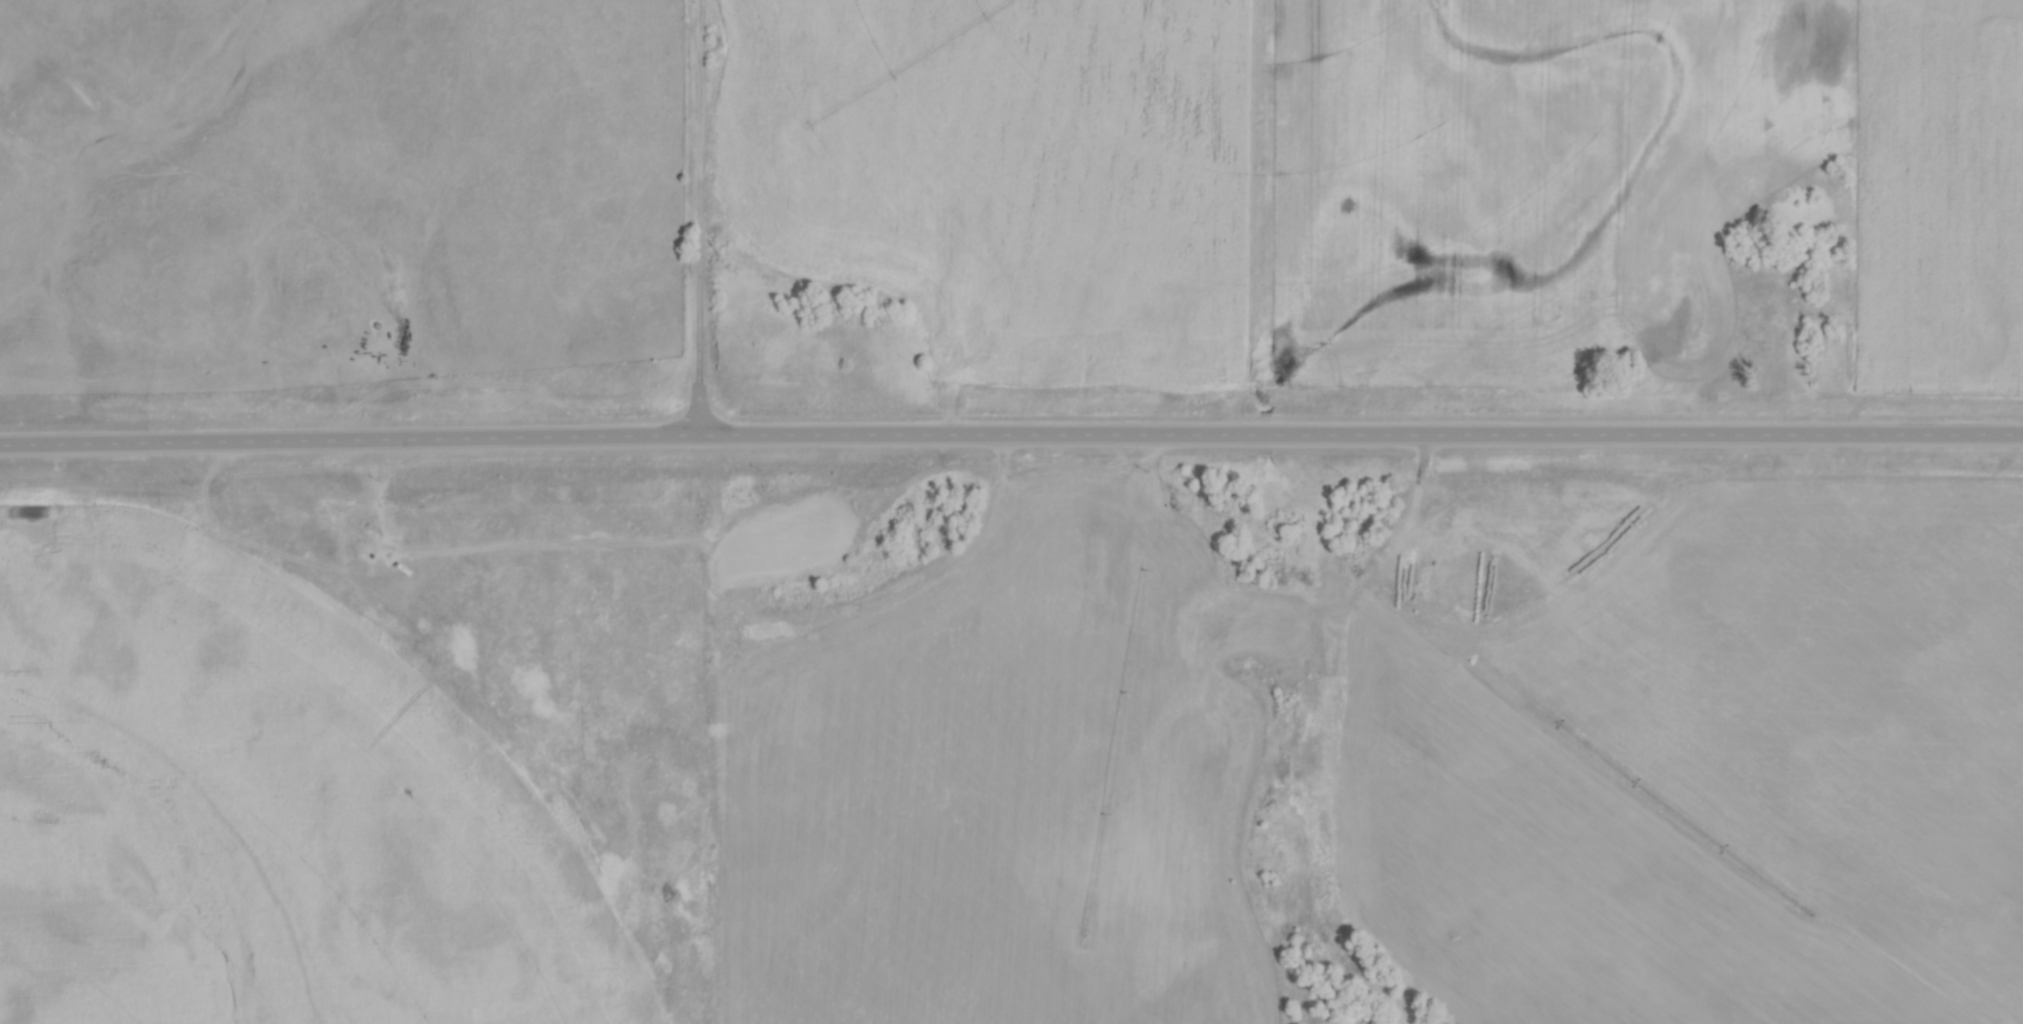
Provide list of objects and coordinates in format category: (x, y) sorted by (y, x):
road: (698, 218)
road: (1011, 433)

